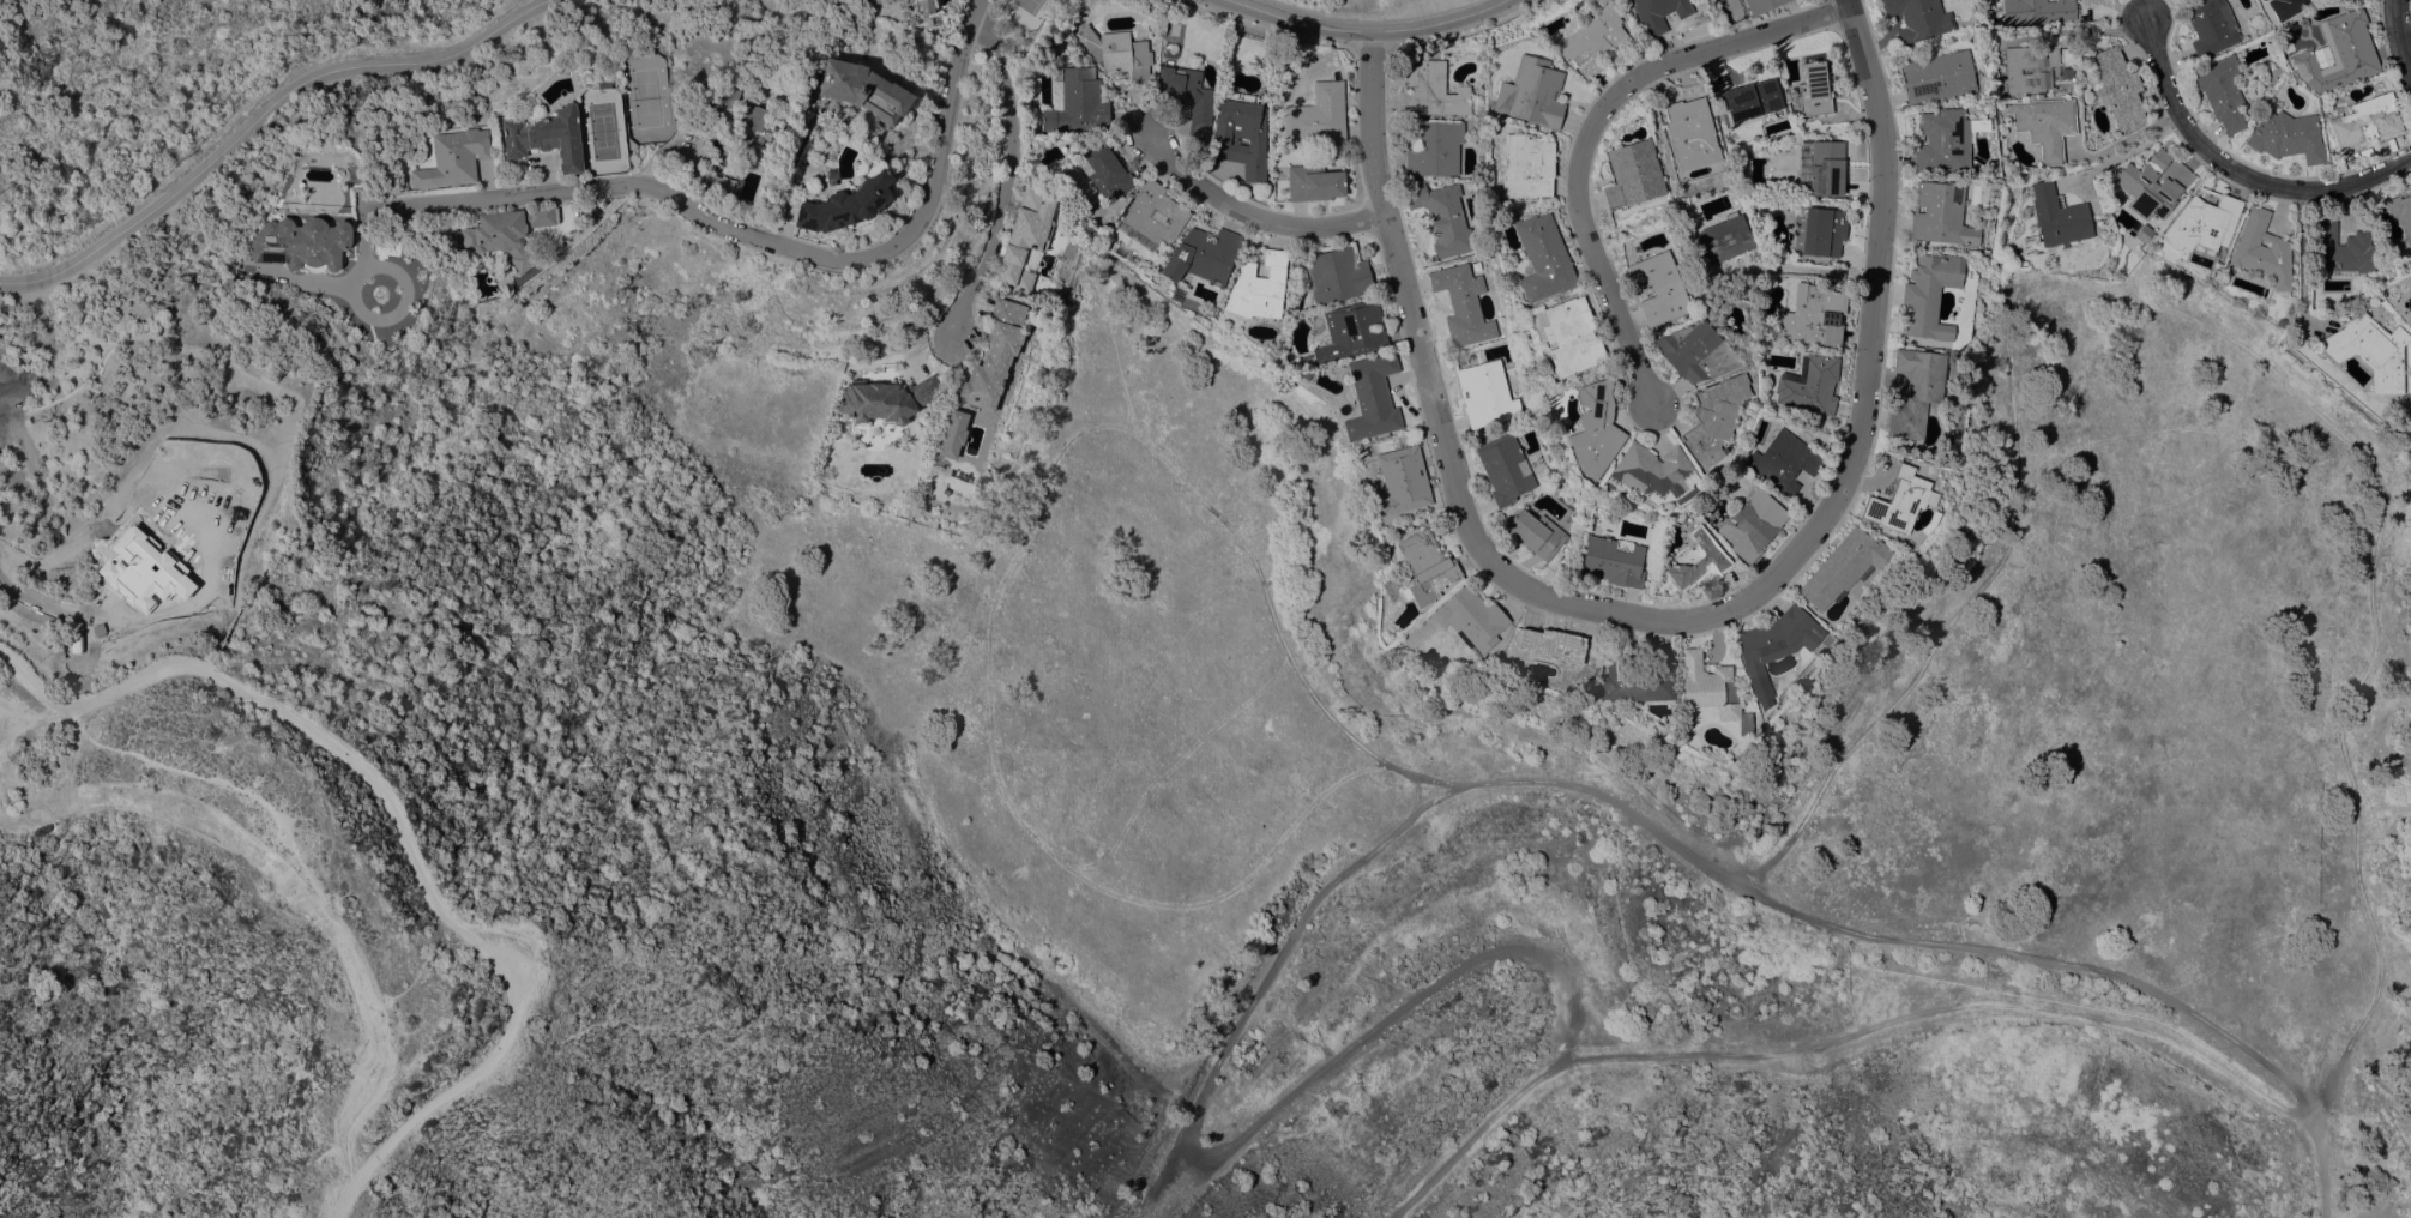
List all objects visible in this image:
building: (2259, 0)
building: (2262, 0)
building: (1761, 5)
building: (926, 6)
building: (2285, 7)
building: (2037, 11)
building: (1658, 13)
building: (1917, 19)
building: (2211, 26)
road: (1362, 30)
road: (2399, 35)
building: (1593, 40)
building: (1117, 52)
building: (2339, 53)
building: (2029, 67)
building: (1937, 76)
building: (2271, 76)
building: (604, 84)
building: (2118, 88)
building: (866, 89)
building: (1429, 90)
building: (1814, 90)
building: (2222, 91)
building: (1532, 92)
building: (1187, 98)
building: (1752, 100)
building: (1078, 102)
road: (258, 115)
building: (1318, 116)
building: (736, 122)
building: (2364, 122)
building: (2045, 125)
road: (1592, 126)
building: (1692, 133)
building: (2286, 135)
building: (548, 137)
building: (1242, 137)
building: (1943, 140)
building: (632, 144)
building: (1434, 147)
road: (2122, 152)
building: (453, 158)
building: (1526, 165)
building: (1826, 168)
building: (1105, 171)
road: (2240, 173)
building: (1633, 174)
road: (1011, 175)
building: (1802, 177)
building: (711, 180)
building: (1314, 182)
building: (2148, 186)
building: (848, 203)
building: (2401, 212)
building: (1940, 213)
building: (1152, 216)
building: (2059, 216)
building: (1442, 217)
road: (1250, 218)
building: (2204, 222)
building: (1819, 231)
building: (507, 233)
building: (2142, 234)
road: (754, 236)
building: (1725, 237)
building: (1027, 239)
building: (302, 242)
building: (2343, 246)
building: (2262, 249)
building: (1204, 255)
building: (1543, 258)
road: (2300, 270)
road: (1795, 271)
building: (1339, 275)
building: (1259, 287)
building: (1658, 288)
building: (1928, 294)
building: (1463, 304)
building: (1812, 315)
road: (369, 316)
building: (1352, 331)
road: (2223, 334)
building: (1572, 336)
building: (2370, 350)
building: (1695, 351)
building: (996, 354)
building: (1808, 385)
building: (1915, 391)
building: (1487, 394)
building: (1372, 398)
building: (887, 399)
building: (1713, 417)
building: (1595, 428)
building: (1947, 446)
building: (1782, 462)
building: (1505, 468)
building: (1651, 472)
building: (1403, 480)
building: (1898, 501)
building: (1750, 524)
building: (1536, 532)
building: (1694, 560)
building: (1611, 561)
building: (1425, 565)
building: (1842, 567)
road: (38, 601)
building: (1471, 617)
road: (1660, 619)
building: (1553, 645)
building: (1772, 646)
building: (1638, 676)
building: (1711, 689)
road: (1430, 798)
road: (403, 833)
road: (305, 872)
road: (1881, 1026)

